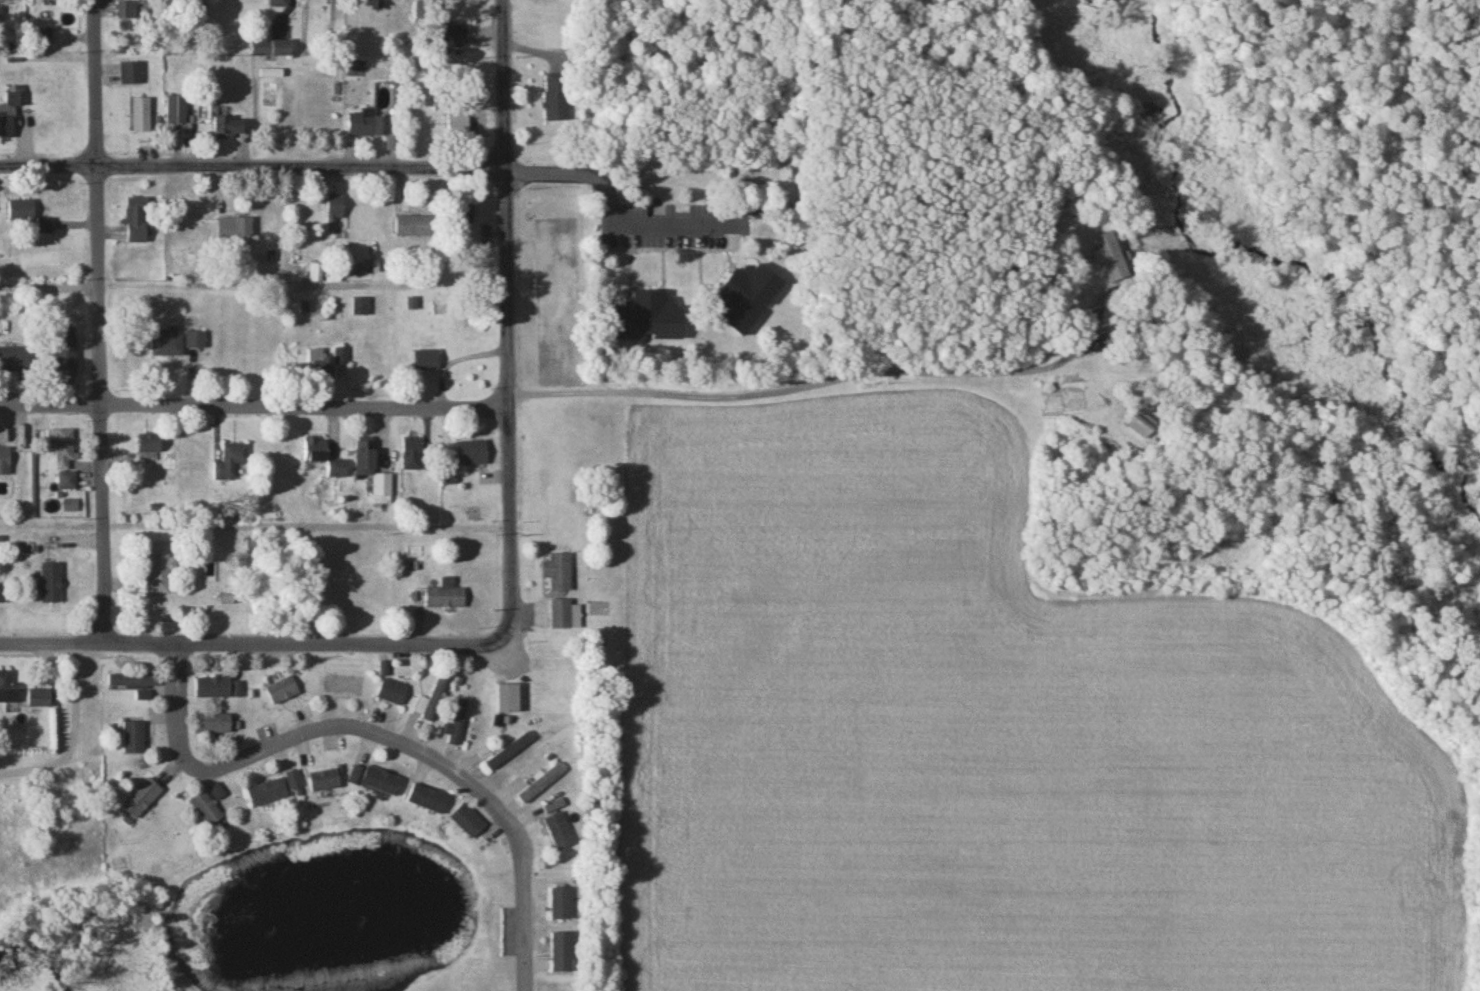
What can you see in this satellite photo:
building: (9, 0)
building: (280, 4)
building: (426, 10)
building: (126, 11)
building: (0, 15)
building: (273, 49)
building: (130, 75)
building: (555, 97)
building: (12, 109)
building: (176, 111)
building: (141, 114)
building: (368, 124)
building: (451, 124)
building: (232, 128)
road: (49, 165)
road: (298, 165)
road: (612, 209)
building: (22, 211)
building: (333, 211)
building: (754, 215)
building: (138, 224)
building: (46, 227)
building: (415, 227)
building: (236, 230)
building: (1102, 248)
building: (315, 274)
road: (49, 287)
building: (746, 299)
building: (440, 301)
building: (359, 307)
building: (654, 318)
road: (98, 320)
road: (502, 322)
building: (196, 340)
building: (167, 346)
building: (66, 356)
building: (14, 361)
building: (328, 362)
building: (427, 362)
road: (820, 372)
road: (252, 403)
building: (151, 445)
building: (64, 446)
building: (315, 451)
building: (413, 455)
building: (472, 455)
building: (5, 461)
building: (229, 464)
building: (372, 472)
building: (161, 570)
building: (558, 572)
building: (52, 584)
building: (3, 594)
building: (443, 599)
building: (564, 616)
road: (221, 642)
road: (476, 644)
building: (132, 681)
building: (9, 690)
building: (218, 690)
building: (283, 692)
building: (392, 693)
building: (40, 699)
building: (507, 699)
building: (432, 700)
building: (456, 722)
building: (214, 725)
road: (381, 731)
road: (72, 733)
building: (135, 738)
building: (510, 752)
building: (326, 781)
building: (379, 781)
building: (540, 784)
building: (296, 785)
building: (218, 793)
building: (270, 794)
building: (143, 799)
building: (431, 800)
building: (208, 811)
building: (470, 822)
building: (556, 832)
building: (558, 904)
building: (558, 953)

